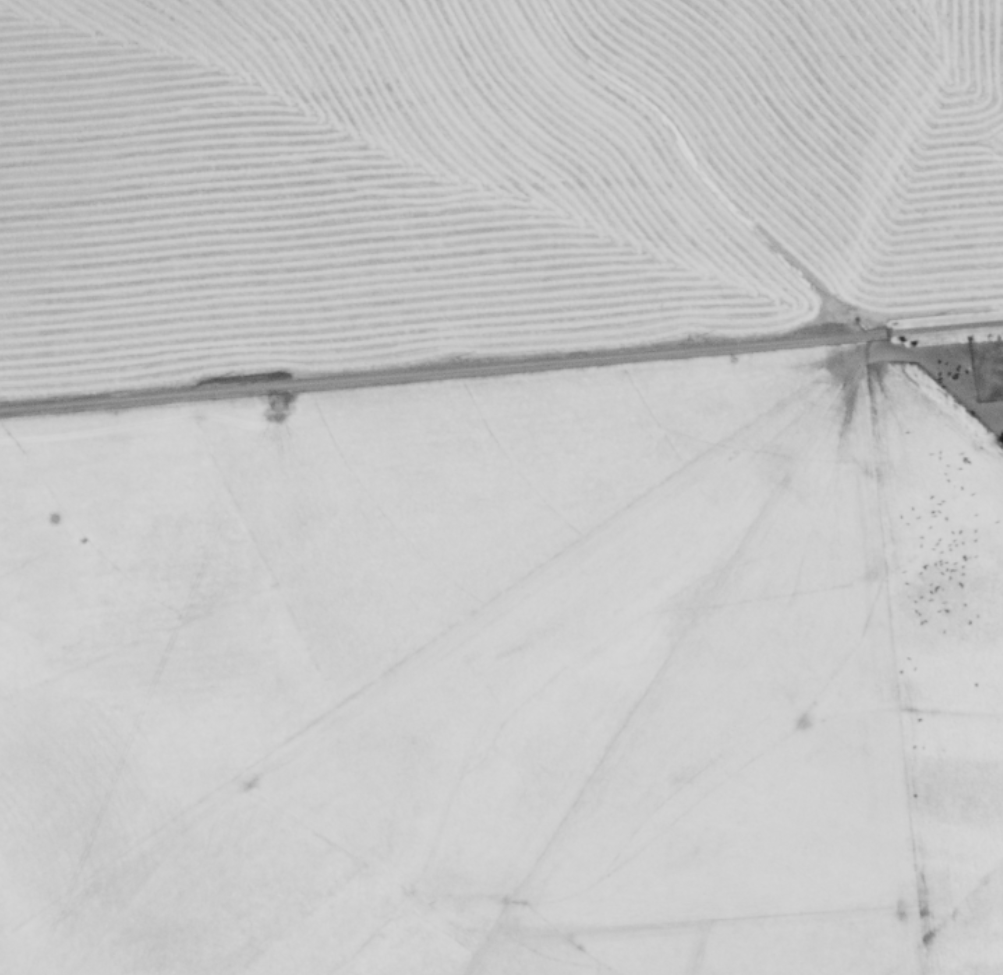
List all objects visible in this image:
road: (501, 362)
crop: (495, 489)

